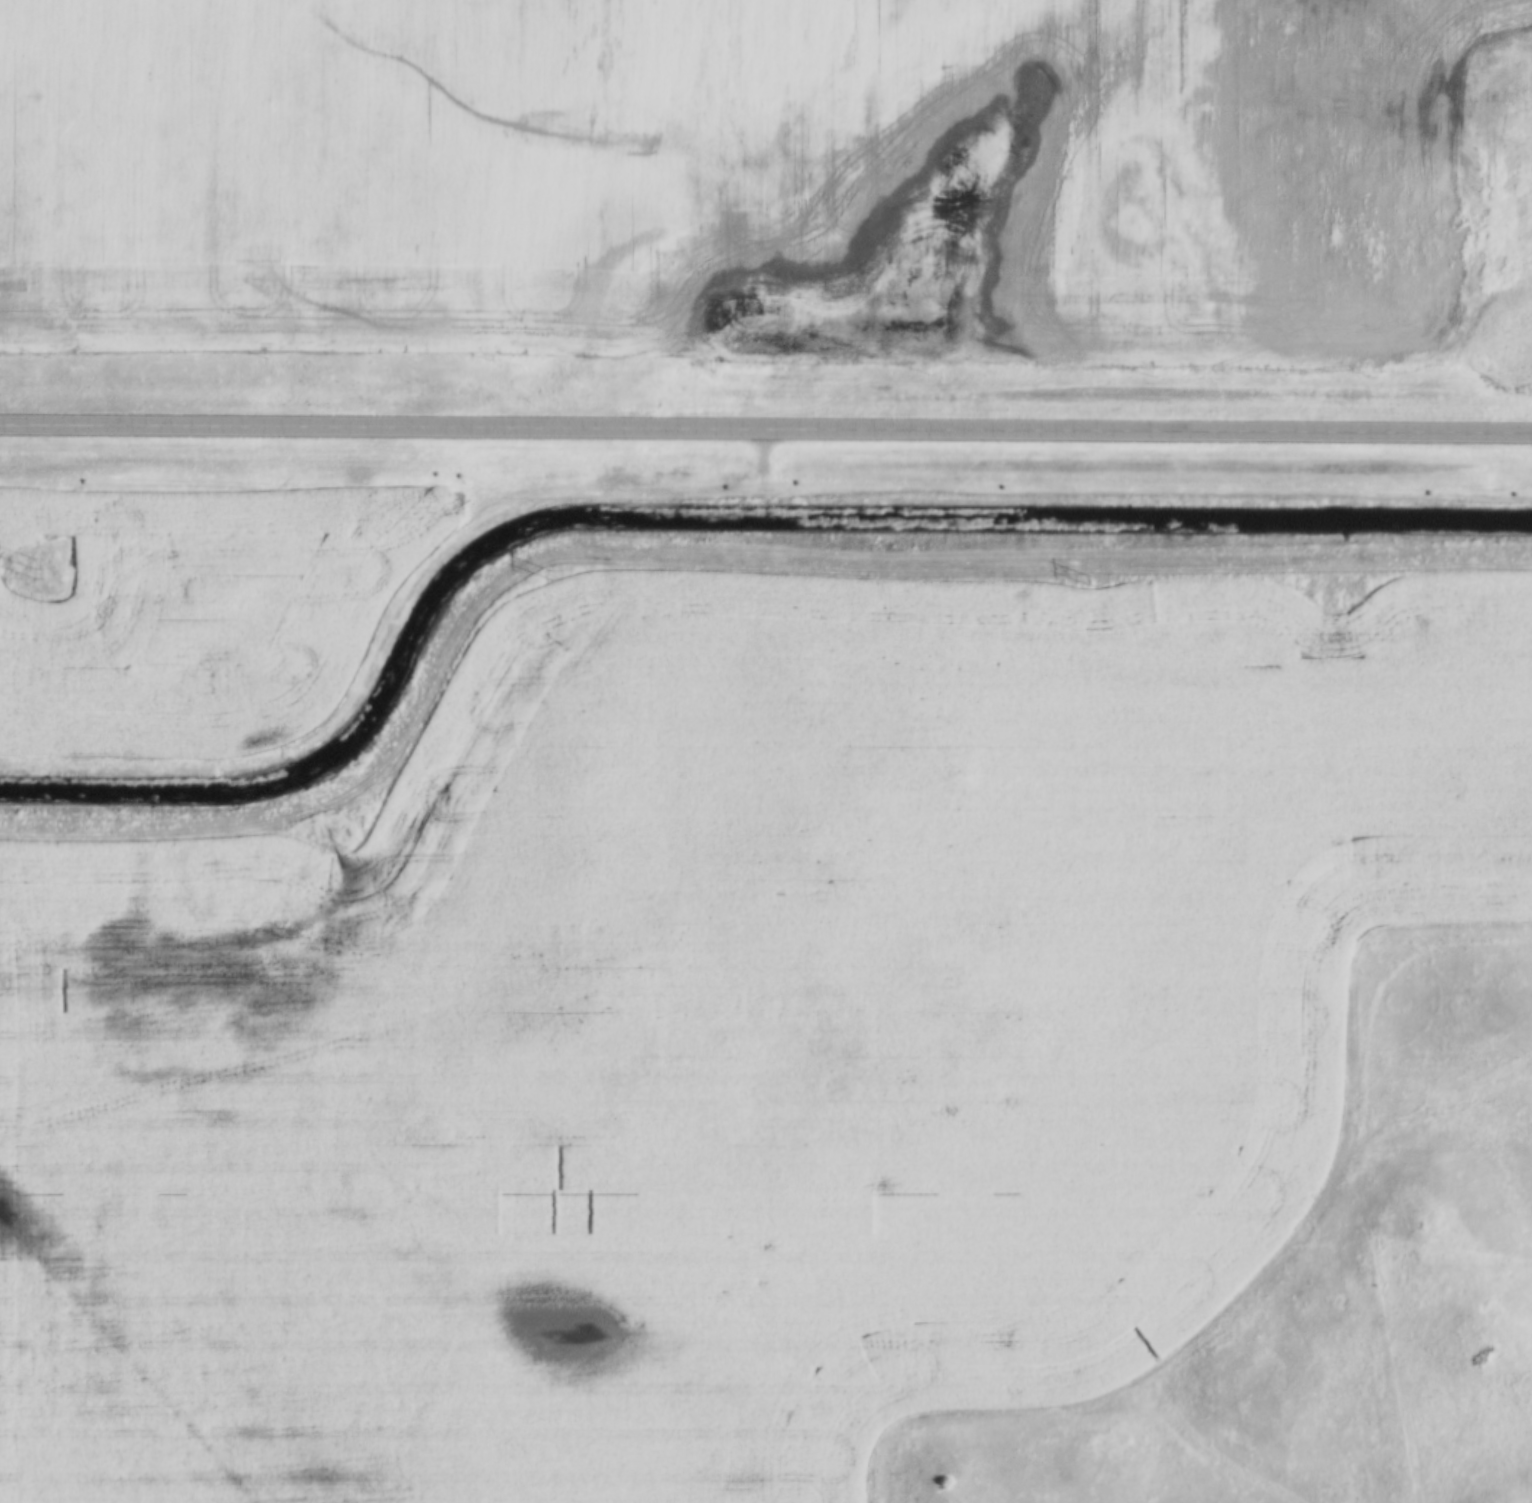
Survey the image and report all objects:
road: (766, 430)
power tower: (40, 572)
power tower: (553, 575)
power tower: (1085, 580)

